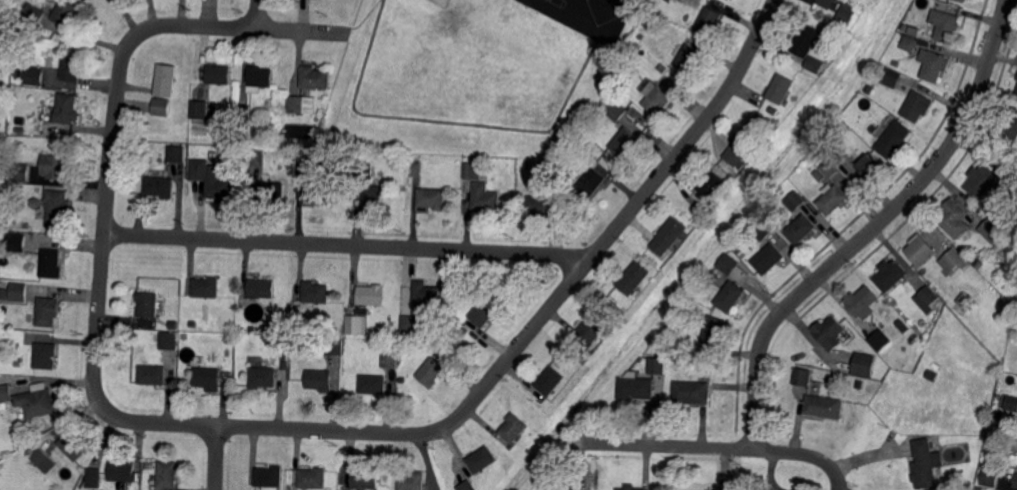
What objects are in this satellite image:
building: (87, 0)
building: (963, 0)
building: (827, 2)
building: (67, 13)
road: (259, 14)
building: (846, 14)
building: (35, 15)
road: (365, 15)
building: (709, 22)
building: (946, 24)
road: (242, 28)
road: (588, 29)
building: (910, 43)
building: (634, 46)
building: (808, 47)
building: (17, 56)
building: (689, 57)
building: (934, 64)
building: (72, 68)
building: (662, 68)
building: (16, 71)
building: (219, 74)
building: (34, 75)
building: (316, 77)
building: (892, 77)
building: (260, 78)
building: (166, 80)
building: (780, 88)
building: (869, 89)
building: (656, 97)
building: (1016, 97)
building: (300, 104)
building: (162, 107)
building: (916, 107)
building: (66, 110)
building: (198, 110)
building: (613, 110)
building: (243, 112)
building: (773, 112)
road: (444, 120)
building: (873, 129)
building: (19, 130)
building: (1009, 131)
building: (892, 137)
building: (749, 139)
building: (625, 141)
building: (583, 147)
building: (175, 154)
building: (255, 156)
building: (734, 156)
building: (839, 156)
building: (870, 165)
building: (56, 166)
building: (304, 166)
building: (365, 168)
building: (416, 168)
building: (826, 169)
building: (473, 170)
building: (18, 172)
building: (213, 179)
building: (981, 180)
building: (592, 182)
building: (712, 184)
road: (651, 185)
building: (160, 186)
building: (271, 191)
building: (318, 192)
building: (378, 195)
building: (432, 198)
building: (485, 198)
building: (831, 199)
building: (795, 201)
building: (546, 202)
building: (36, 203)
building: (7, 206)
building: (58, 209)
building: (701, 209)
building: (953, 218)
road: (106, 224)
road: (873, 227)
building: (762, 228)
building: (801, 229)
building: (994, 232)
building: (668, 236)
building: (18, 242)
road: (349, 245)
building: (921, 249)
building: (769, 258)
building: (953, 260)
building: (730, 262)
building: (53, 263)
building: (978, 264)
building: (890, 274)
building: (715, 275)
building: (635, 278)
building: (205, 288)
building: (262, 288)
building: (20, 292)
building: (316, 292)
building: (372, 294)
building: (425, 294)
building: (731, 296)
building: (926, 299)
building: (861, 302)
building: (149, 303)
building: (962, 303)
building: (49, 311)
building: (484, 312)
building: (31, 317)
building: (413, 322)
building: (193, 324)
building: (356, 324)
building: (176, 325)
building: (900, 326)
building: (593, 327)
building: (1015, 327)
building: (673, 329)
building: (252, 330)
building: (715, 332)
building: (829, 332)
building: (229, 339)
building: (878, 340)
building: (168, 341)
building: (336, 346)
building: (46, 356)
building: (391, 356)
building: (20, 362)
building: (658, 365)
building: (863, 365)
building: (285, 366)
building: (432, 372)
building: (153, 374)
building: (933, 374)
building: (801, 377)
building: (209, 378)
building: (263, 378)
building: (320, 379)
building: (551, 380)
building: (373, 384)
building: (859, 384)
building: (634, 387)
building: (6, 392)
building: (692, 392)
building: (39, 400)
building: (1011, 403)
building: (824, 406)
building: (921, 413)
building: (998, 415)
building: (514, 427)
road: (327, 430)
building: (925, 431)
building: (997, 441)
building: (74, 445)
road: (702, 448)
building: (42, 457)
road: (217, 458)
building: (482, 459)
building: (925, 464)
building: (123, 470)
building: (167, 475)
road: (838, 476)
building: (95, 477)
building: (990, 477)
building: (269, 478)
building: (313, 478)
building: (363, 478)
building: (412, 480)
building: (1015, 480)
building: (1004, 483)
building: (467, 486)
building: (558, 487)
building: (630, 487)
building: (147, 488)
building: (709, 489)
building: (979, 489)

